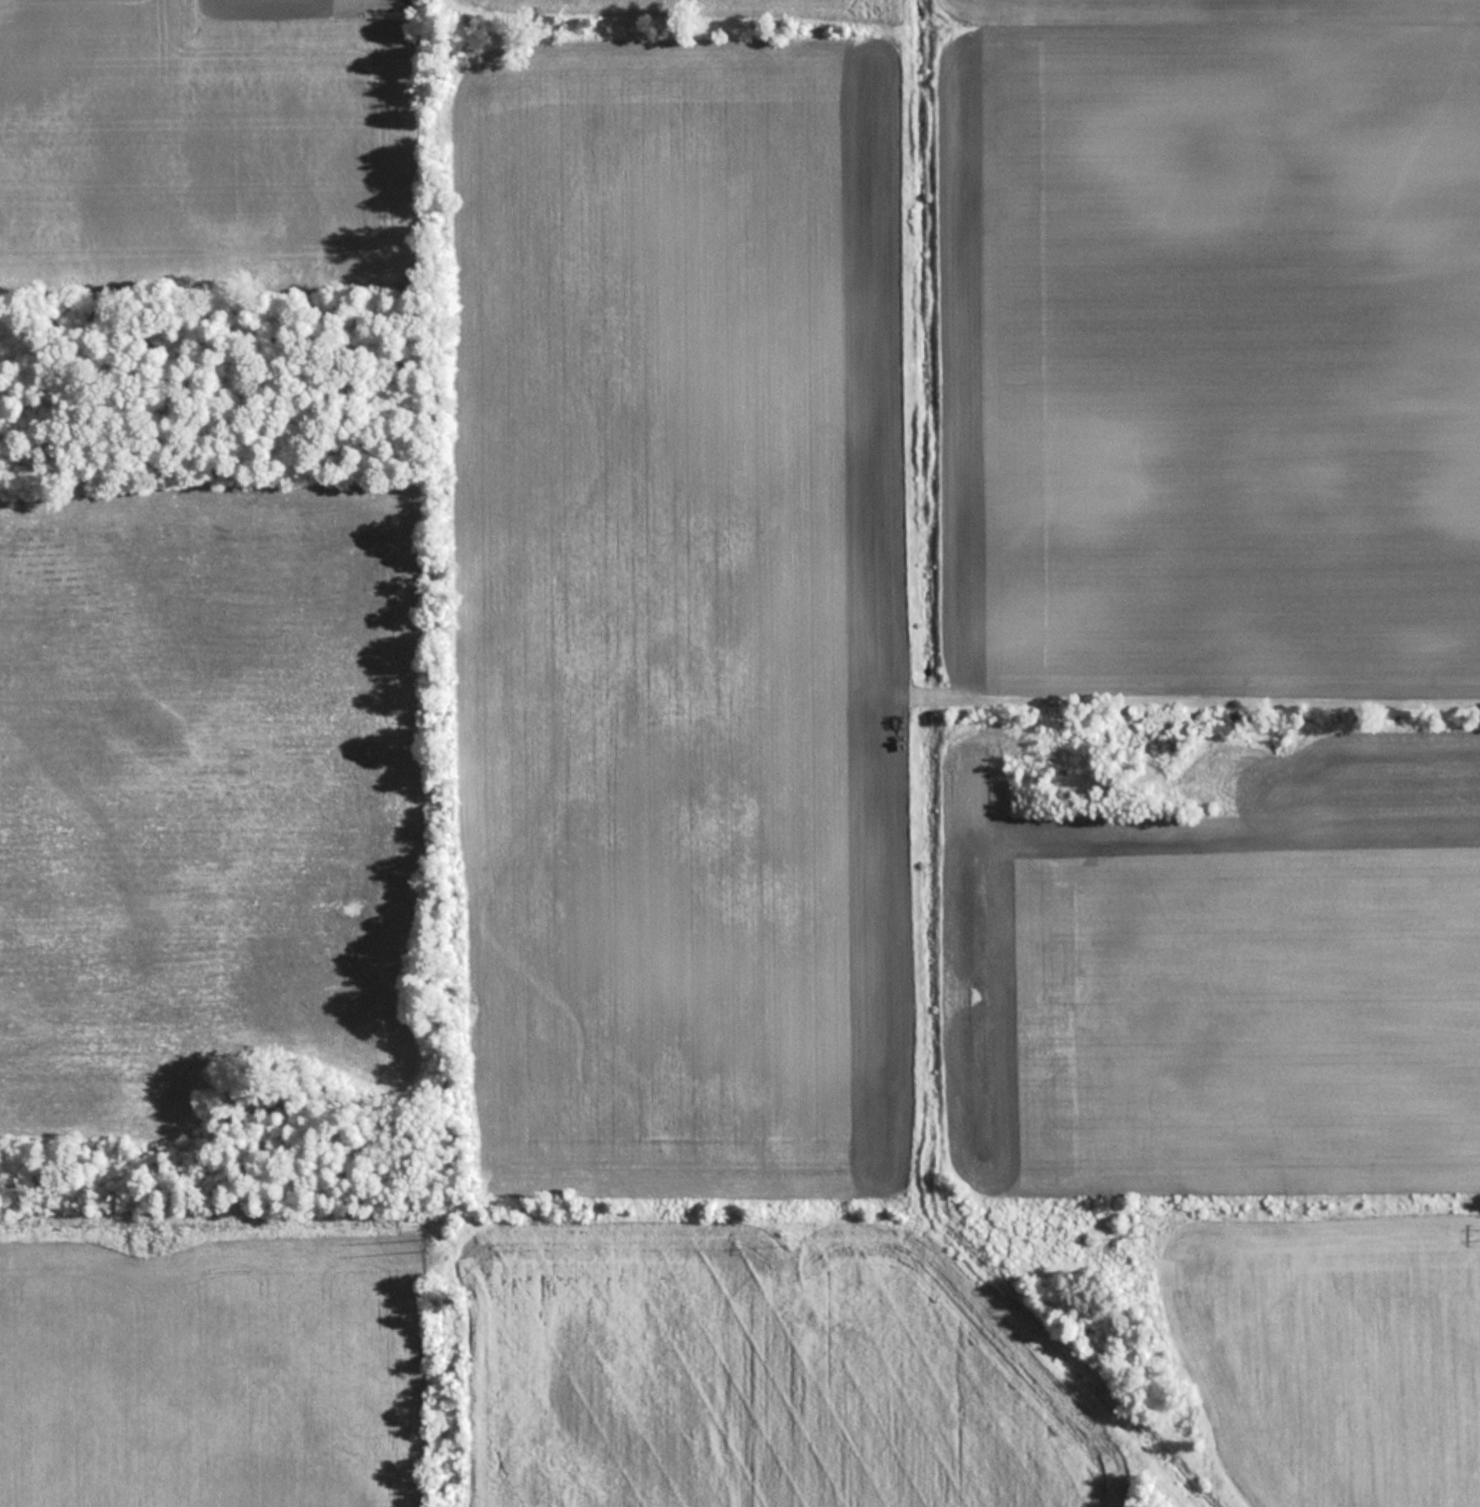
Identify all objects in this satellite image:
power tower: (1153, 1232)
power tower: (789, 1235)
power tower: (449, 1239)

